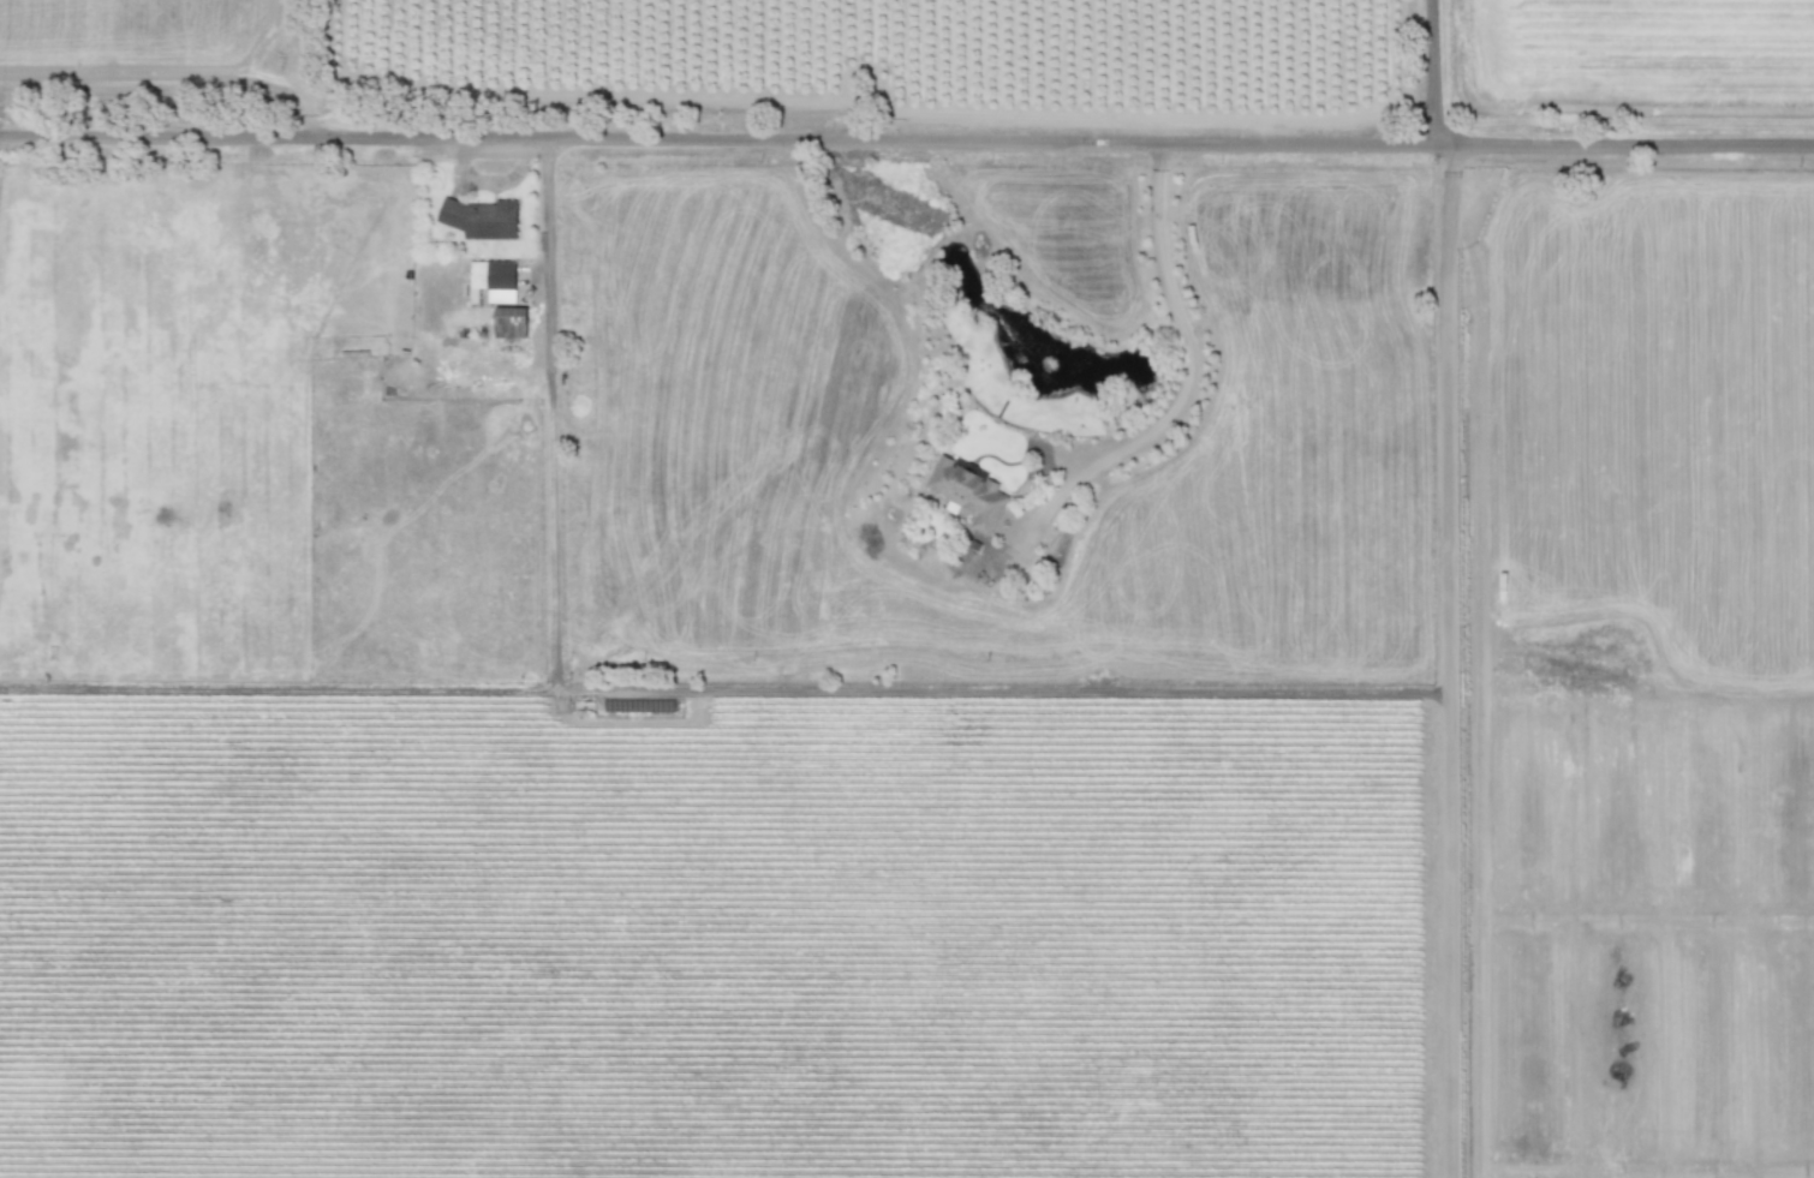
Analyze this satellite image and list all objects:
road: (1436, 71)
road: (907, 138)
building: (488, 166)
building: (432, 171)
building: (481, 217)
building: (491, 279)
road: (1188, 340)
building: (967, 490)
crop: (752, 572)
road: (1440, 659)
road: (276, 687)
road: (720, 690)

